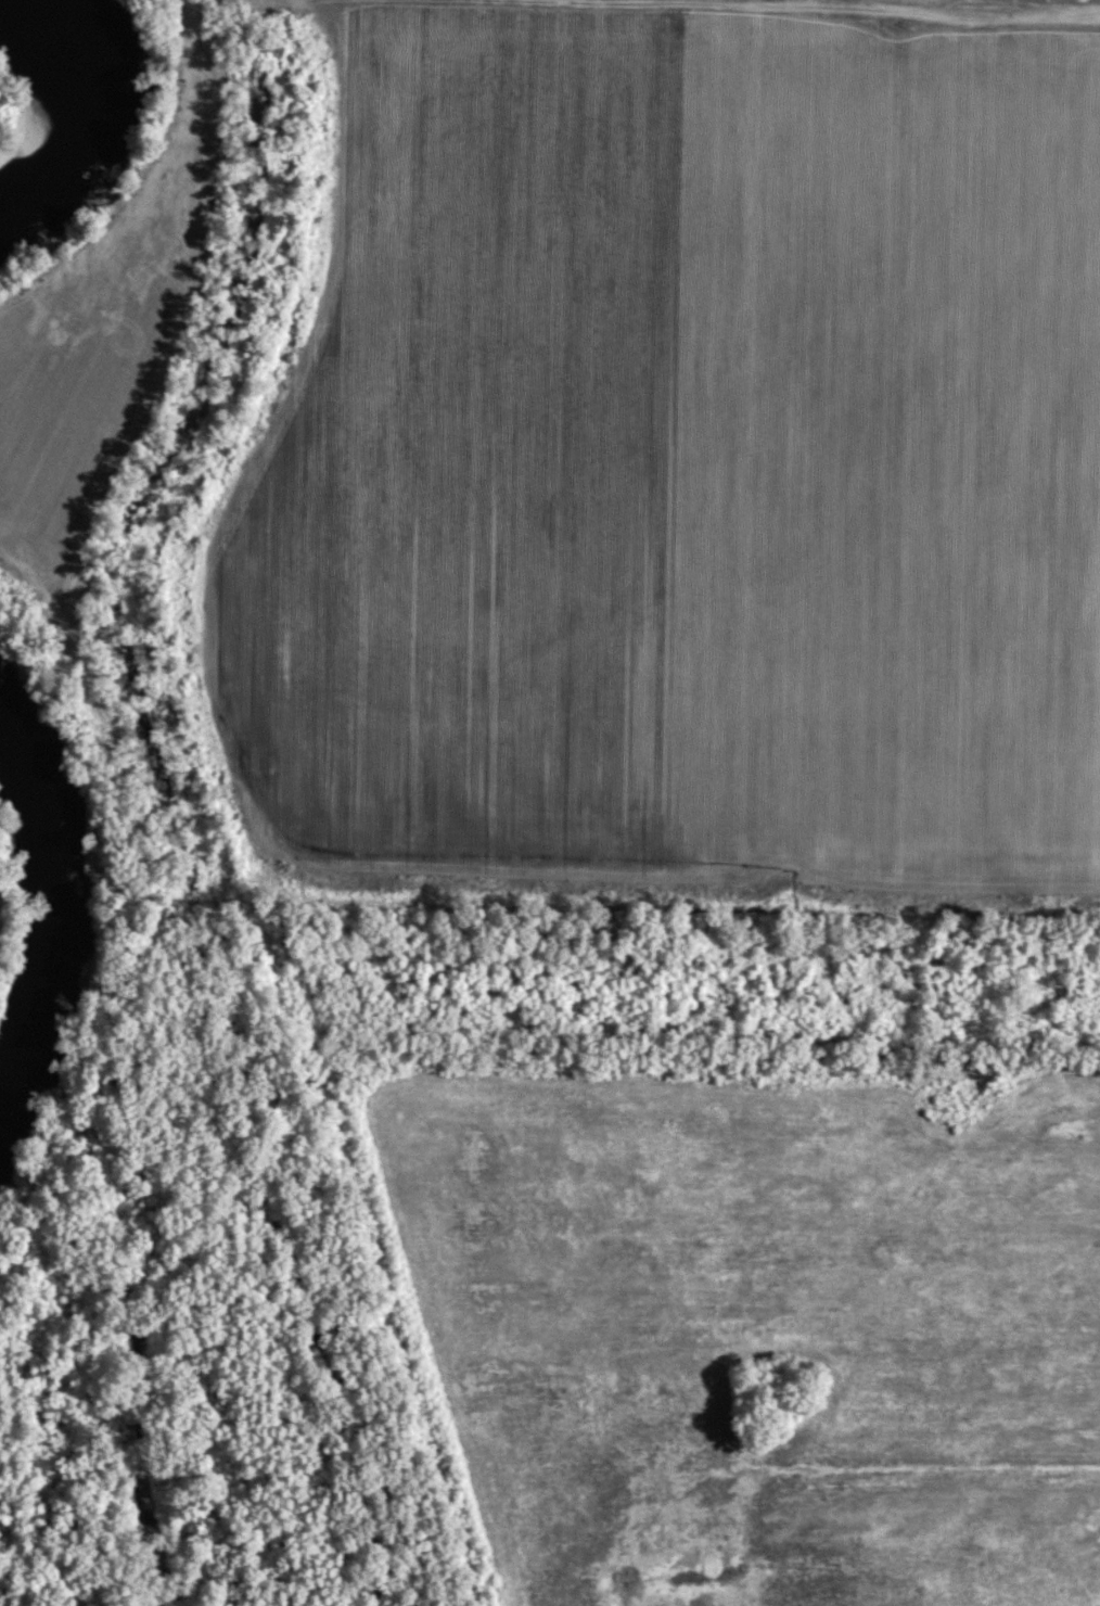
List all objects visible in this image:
road: (668, 4)
river: (81, 106)
river: (29, 915)
building: (956, 1091)

